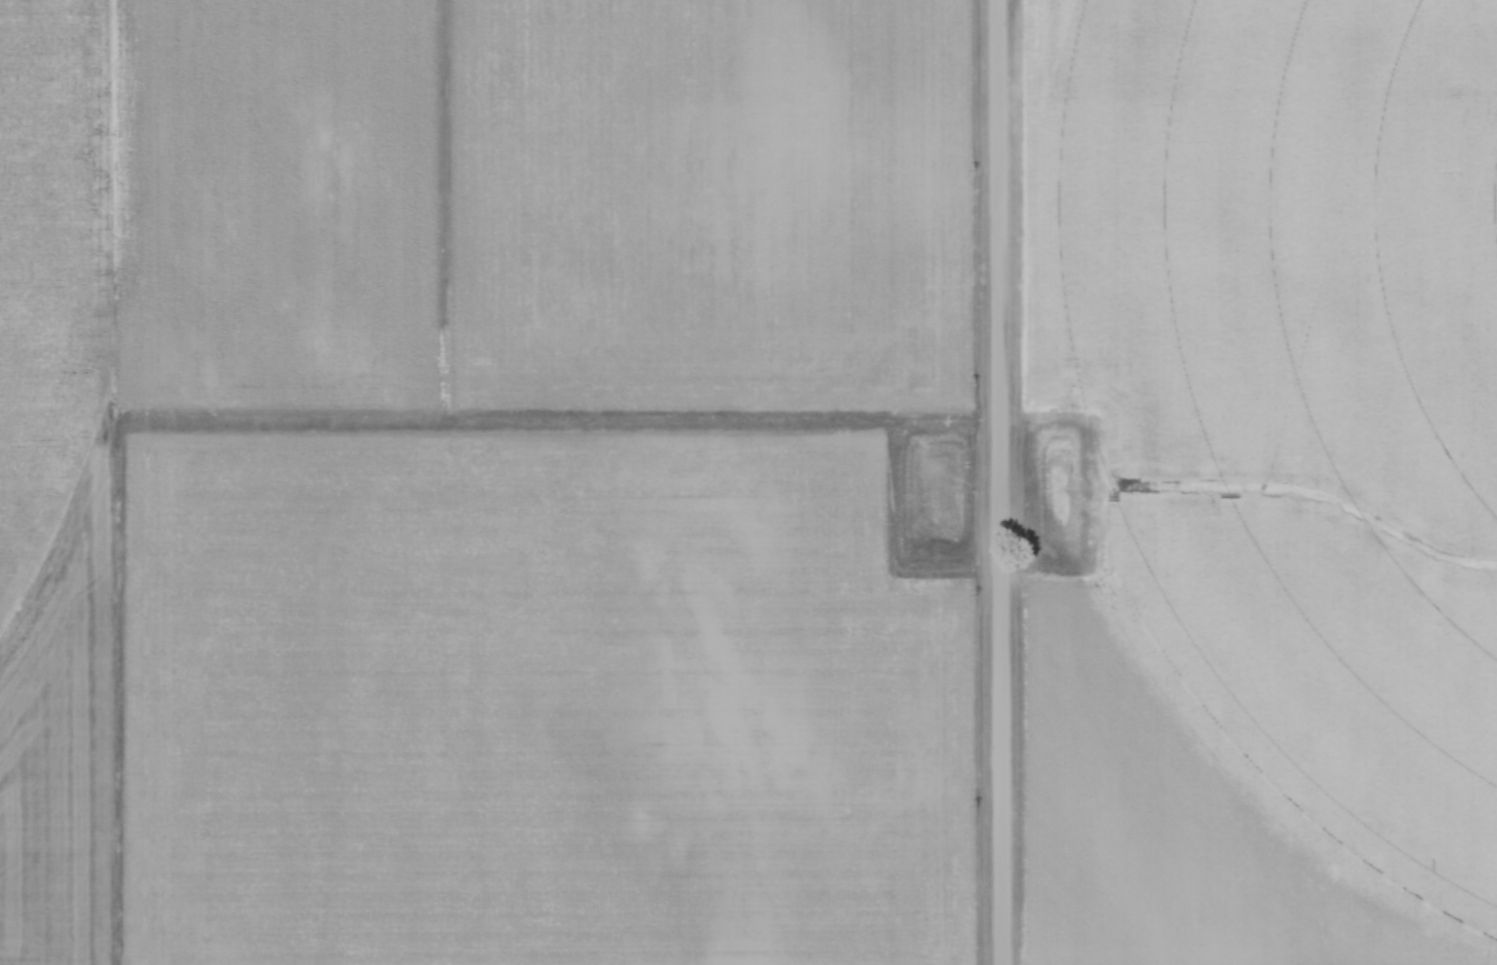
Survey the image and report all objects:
road: (1001, 482)

